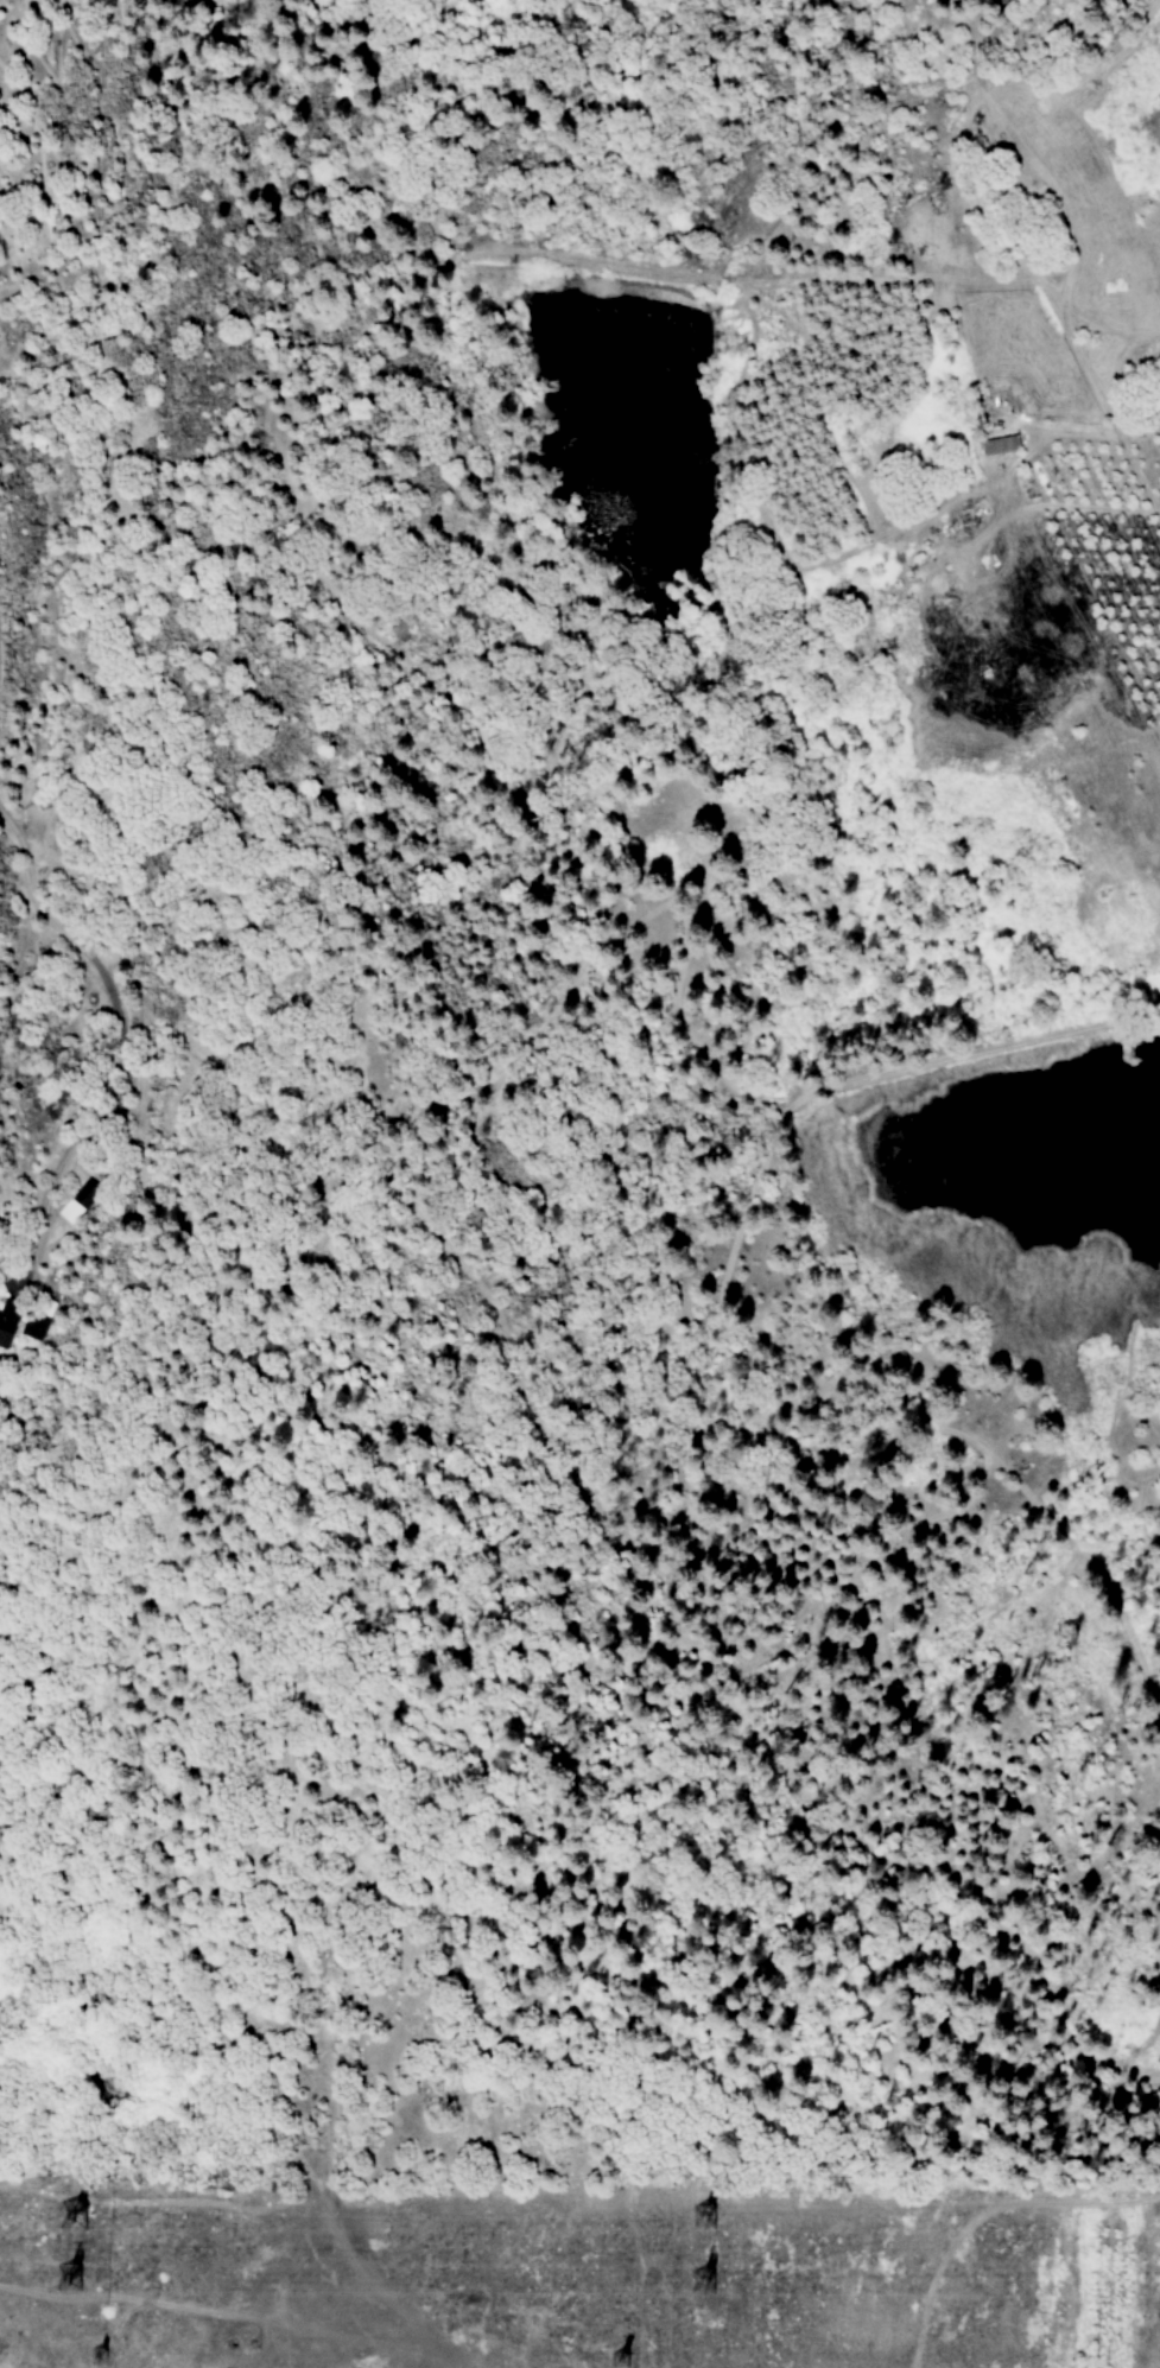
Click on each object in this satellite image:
building: (999, 445)
crop: (1107, 569)
road: (520, 750)
road: (47, 1180)
building: (78, 1201)
building: (38, 1319)
building: (7, 1321)
road: (617, 1388)
power tower: (70, 2215)
power tower: (701, 2217)
crop: (1096, 2245)
power tower: (66, 2280)
power tower: (701, 2283)
power tower: (96, 2355)
power tower: (620, 2359)

